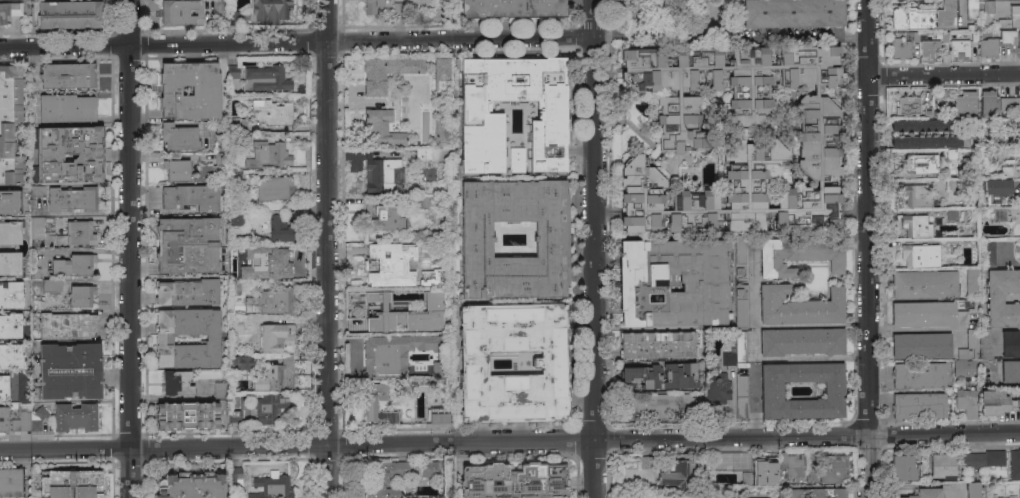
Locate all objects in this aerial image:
building: (398, 5)
building: (372, 6)
building: (989, 6)
building: (512, 8)
building: (972, 9)
building: (272, 10)
building: (9, 12)
building: (180, 12)
building: (221, 12)
building: (793, 13)
building: (68, 15)
building: (1012, 16)
building: (924, 17)
park: (675, 22)
building: (652, 30)
building: (945, 37)
building: (995, 42)
road: (295, 43)
building: (903, 45)
building: (958, 46)
building: (929, 49)
building: (440, 68)
building: (234, 71)
building: (68, 75)
building: (383, 75)
road: (943, 75)
building: (271, 76)
building: (207, 87)
building: (408, 95)
building: (987, 102)
building: (1008, 103)
building: (964, 104)
building: (908, 105)
building: (66, 108)
building: (430, 108)
building: (275, 109)
building: (927, 112)
building: (937, 112)
building: (481, 115)
building: (405, 120)
building: (238, 121)
building: (10, 123)
building: (1005, 124)
building: (924, 125)
building: (378, 127)
building: (220, 132)
building: (1019, 132)
building: (181, 133)
building: (243, 137)
building: (735, 140)
building: (931, 141)
building: (270, 151)
building: (70, 153)
building: (951, 153)
building: (430, 154)
building: (221, 155)
building: (1019, 158)
building: (515, 160)
building: (920, 165)
building: (178, 166)
building: (205, 170)
building: (1006, 171)
building: (237, 172)
building: (383, 174)
building: (951, 184)
building: (276, 185)
building: (996, 190)
building: (37, 191)
building: (193, 194)
building: (916, 196)
building: (72, 199)
building: (10, 201)
building: (420, 203)
building: (952, 214)
building: (999, 215)
building: (236, 216)
building: (384, 216)
road: (867, 217)
building: (916, 226)
building: (78, 227)
building: (62, 228)
building: (279, 228)
building: (186, 230)
building: (11, 232)
building: (552, 238)
building: (257, 248)
road: (323, 248)
road: (592, 248)
road: (128, 249)
building: (427, 250)
building: (234, 251)
building: (1019, 252)
building: (988, 254)
building: (798, 255)
building: (920, 255)
building: (741, 257)
building: (187, 260)
building: (11, 263)
building: (74, 265)
building: (275, 265)
building: (379, 267)
building: (35, 273)
building: (442, 275)
building: (972, 283)
building: (51, 285)
building: (643, 287)
building: (238, 290)
building: (187, 291)
building: (11, 294)
building: (421, 294)
building: (81, 295)
building: (1002, 297)
building: (950, 298)
building: (274, 301)
building: (248, 304)
building: (741, 306)
building: (799, 306)
building: (383, 314)
building: (10, 325)
building: (66, 325)
building: (234, 326)
building: (164, 338)
building: (276, 338)
building: (801, 341)
building: (1010, 343)
building: (658, 344)
building: (921, 345)
building: (740, 347)
building: (235, 353)
building: (394, 353)
building: (981, 353)
building: (11, 356)
road: (820, 358)
building: (241, 362)
building: (550, 363)
building: (70, 370)
building: (1010, 371)
building: (918, 375)
building: (276, 376)
building: (661, 376)
building: (177, 382)
building: (23, 387)
building: (4, 388)
building: (220, 390)
building: (717, 390)
building: (771, 390)
building: (740, 394)
building: (662, 402)
building: (966, 402)
building: (996, 402)
building: (371, 403)
building: (919, 404)
building: (14, 406)
building: (270, 407)
building: (187, 415)
building: (234, 415)
building: (439, 415)
building: (75, 417)
building: (3, 418)
building: (37, 418)
building: (22, 419)
road: (943, 433)
road: (433, 441)
building: (994, 457)
building: (666, 458)
building: (973, 461)
building: (647, 462)
building: (1014, 464)
road: (867, 466)
building: (942, 466)
building: (903, 467)
building: (429, 469)
building: (833, 469)
building: (774, 470)
building: (681, 473)
building: (811, 474)
building: (235, 476)
building: (385, 478)
building: (513, 481)
building: (11, 482)
building: (71, 484)
building: (191, 485)
building: (272, 486)
building: (972, 489)
building: (816, 492)
building: (925, 493)
building: (1019, 494)
building: (990, 496)

